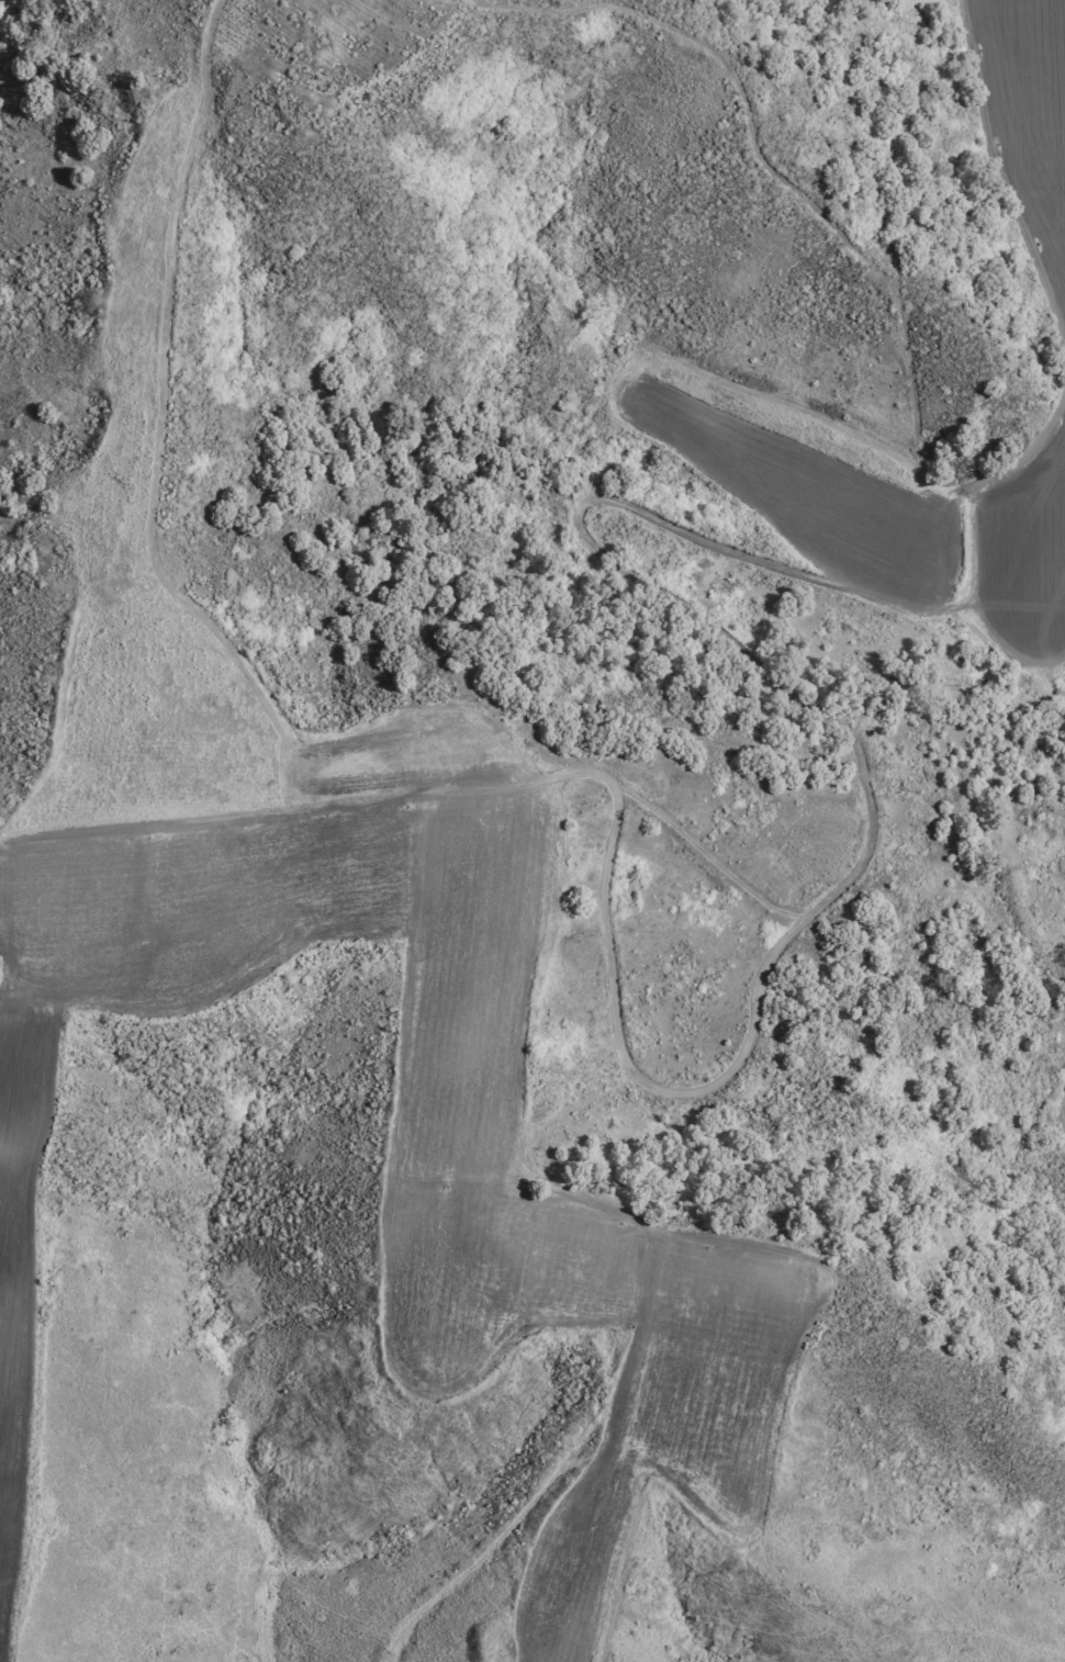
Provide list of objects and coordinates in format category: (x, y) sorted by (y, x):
crop: (1022, 119)
road: (853, 258)
road: (137, 425)
crop: (864, 494)
road: (861, 866)
crop: (281, 889)
road: (637, 1073)
road: (610, 1213)

